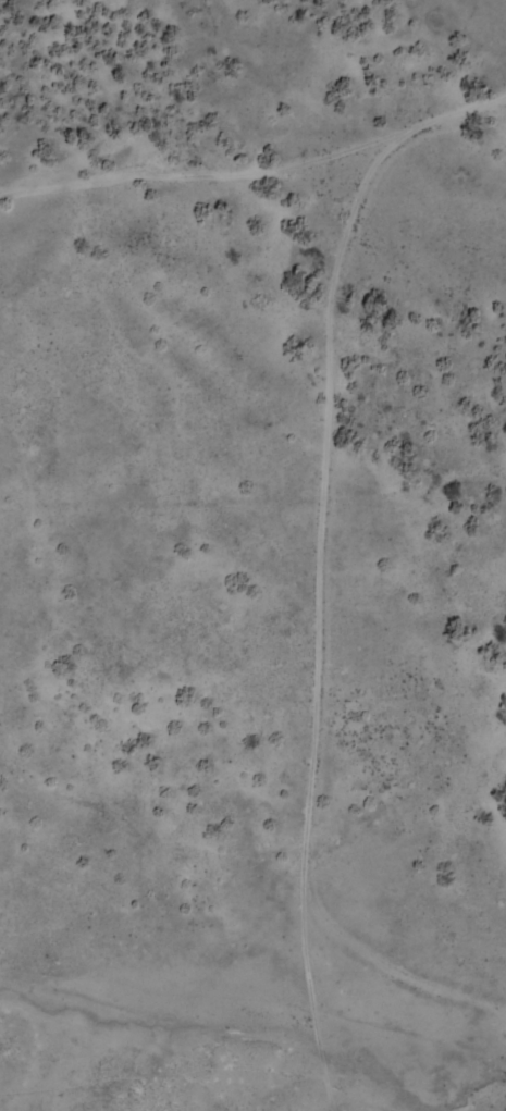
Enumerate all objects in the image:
road: (260, 198)
road: (282, 647)

